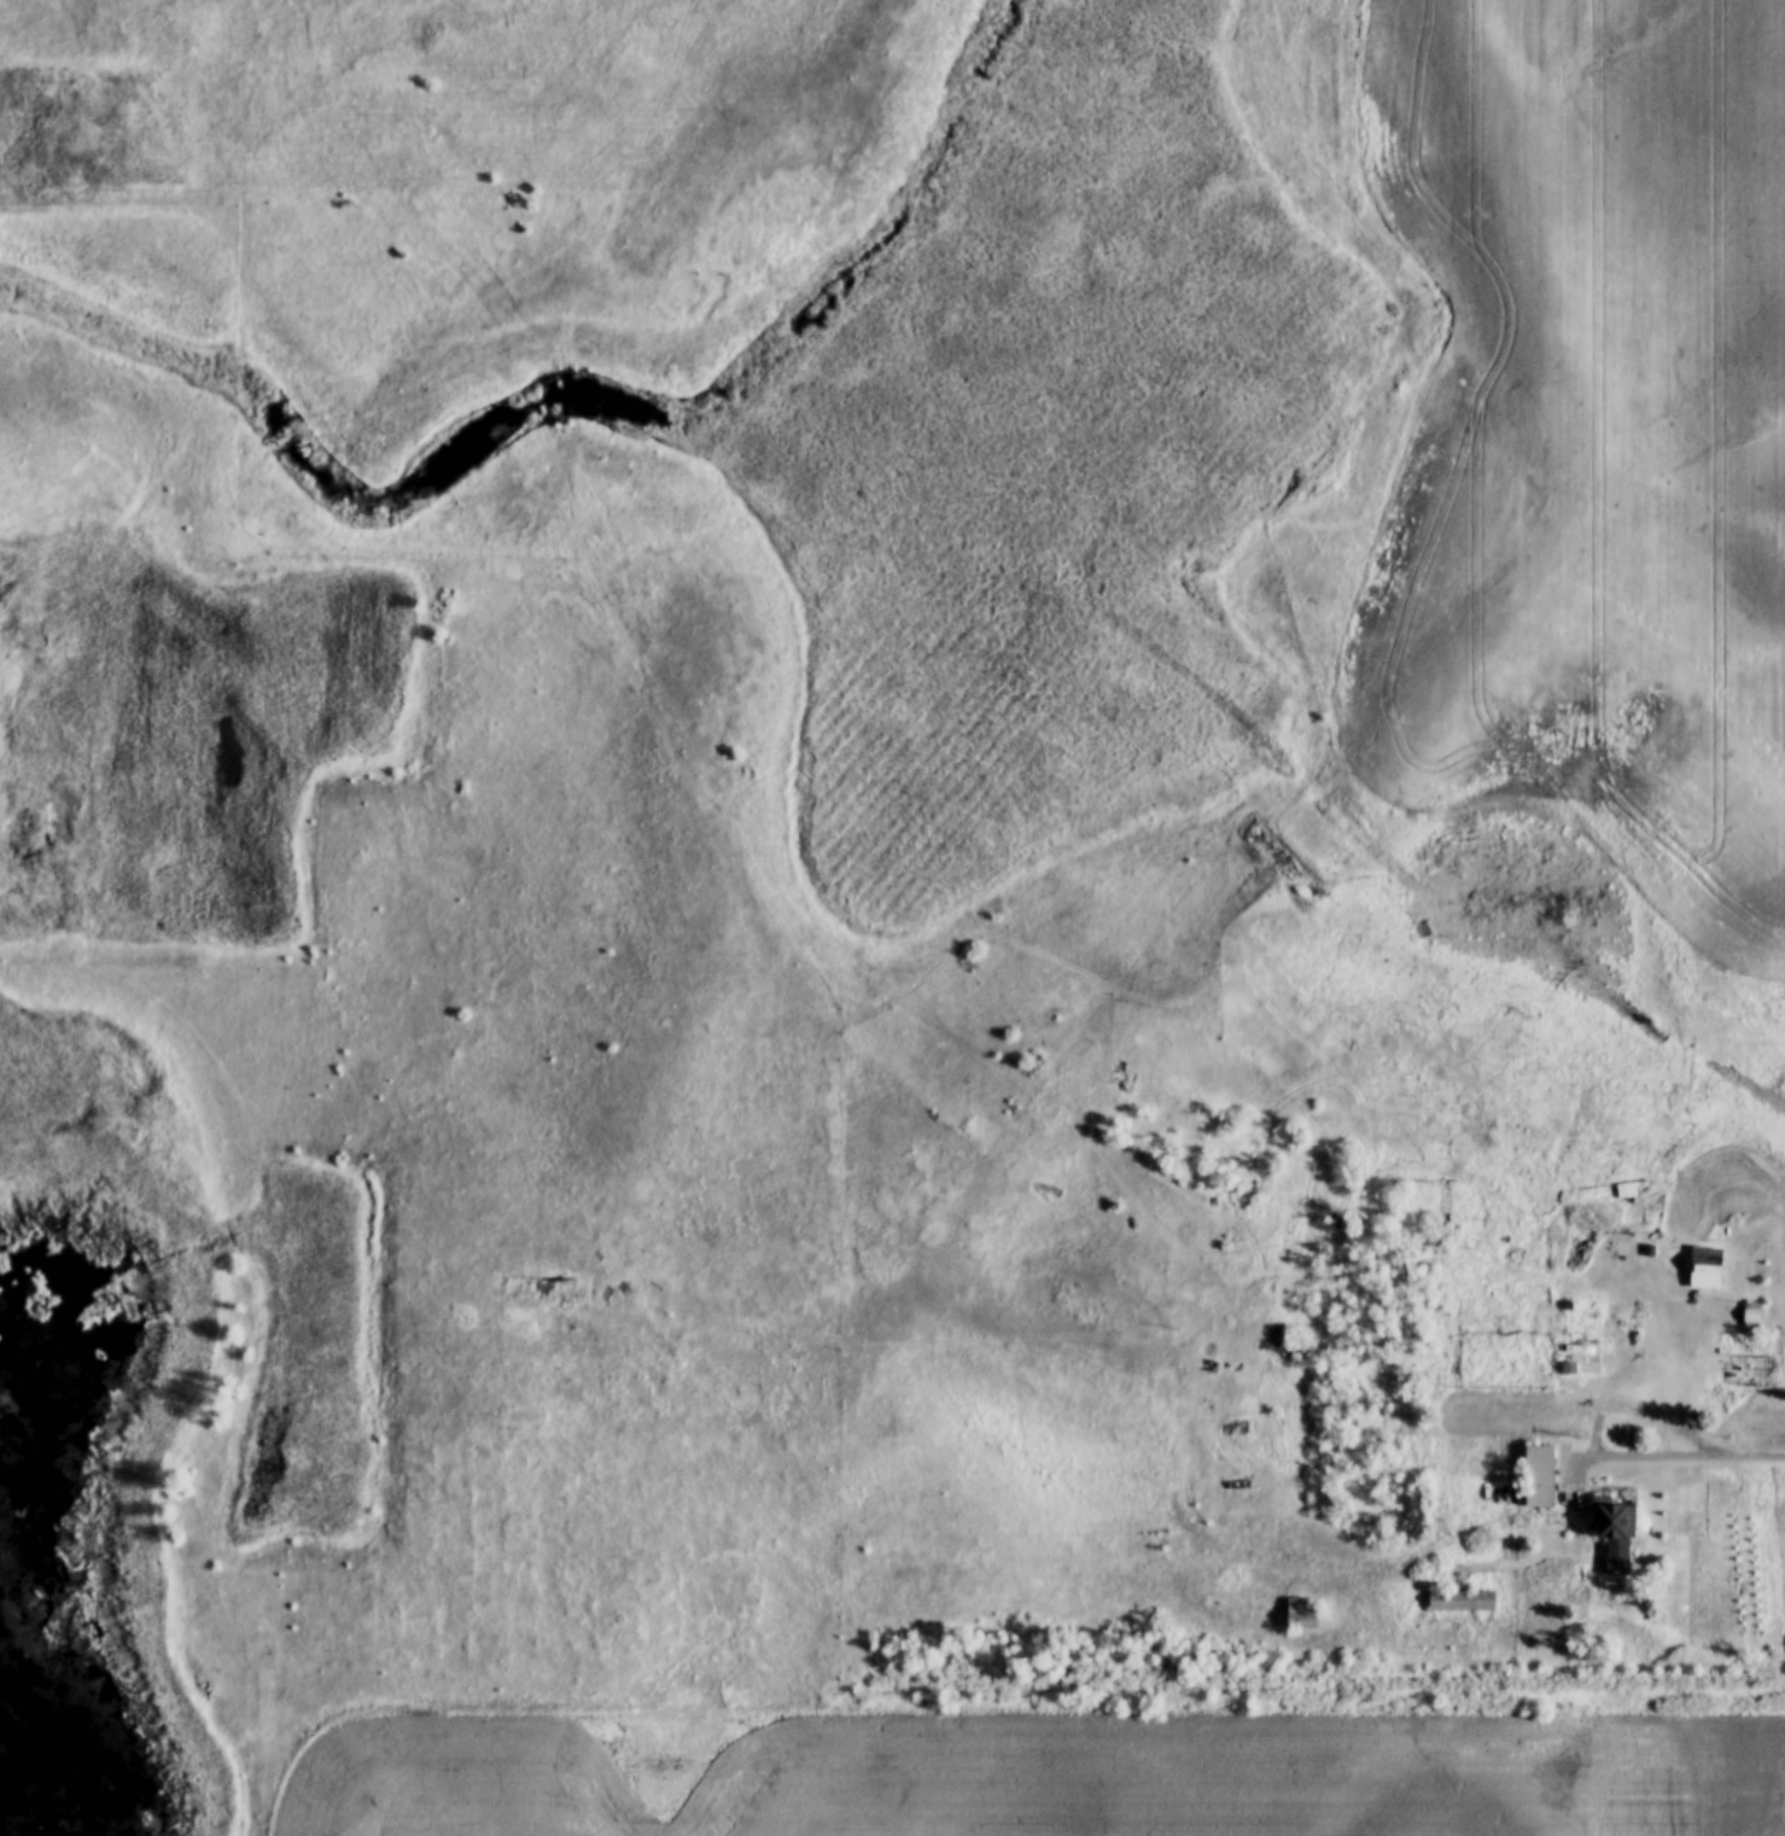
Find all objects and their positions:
building: (1705, 1269)
building: (548, 1293)
road: (1597, 1430)
road: (1754, 1457)
building: (1539, 1476)
building: (1615, 1531)
building: (1462, 1601)
building: (1300, 1615)

